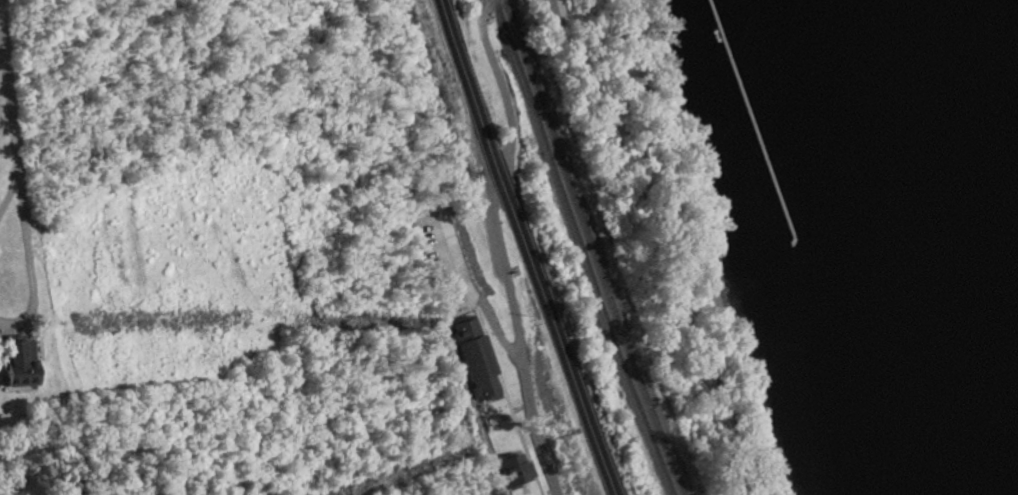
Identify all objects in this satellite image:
building: (546, 9)
road: (5, 186)
road: (11, 187)
road: (496, 245)
road: (522, 247)
railway: (589, 247)
railway: (577, 248)
road: (19, 320)
road: (494, 331)
building: (474, 358)
building: (510, 473)

